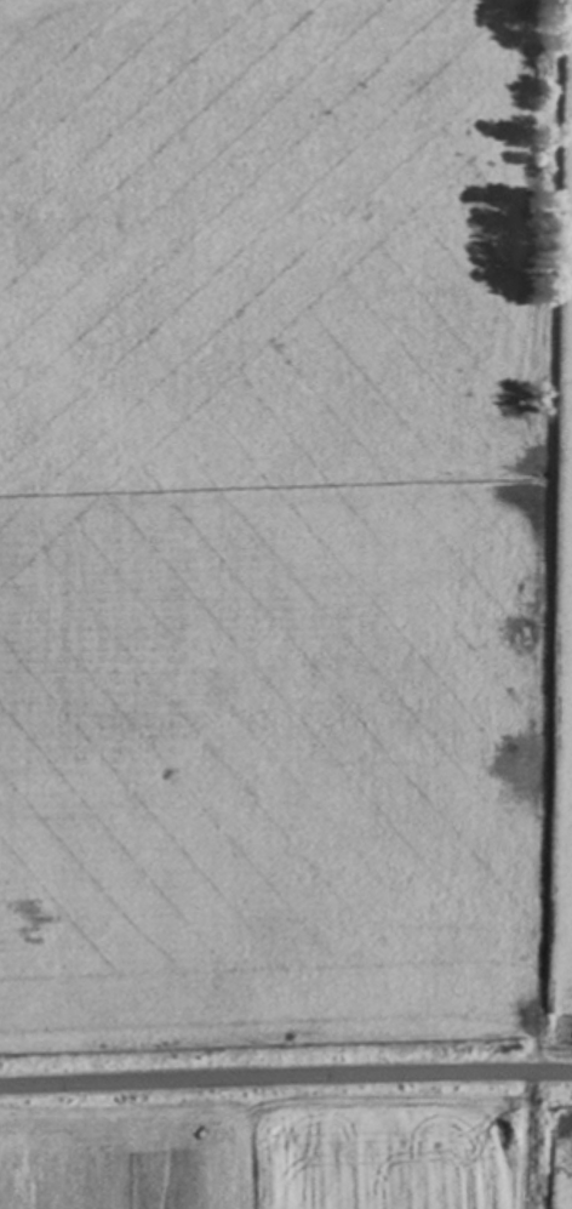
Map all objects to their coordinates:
road: (285, 1079)

